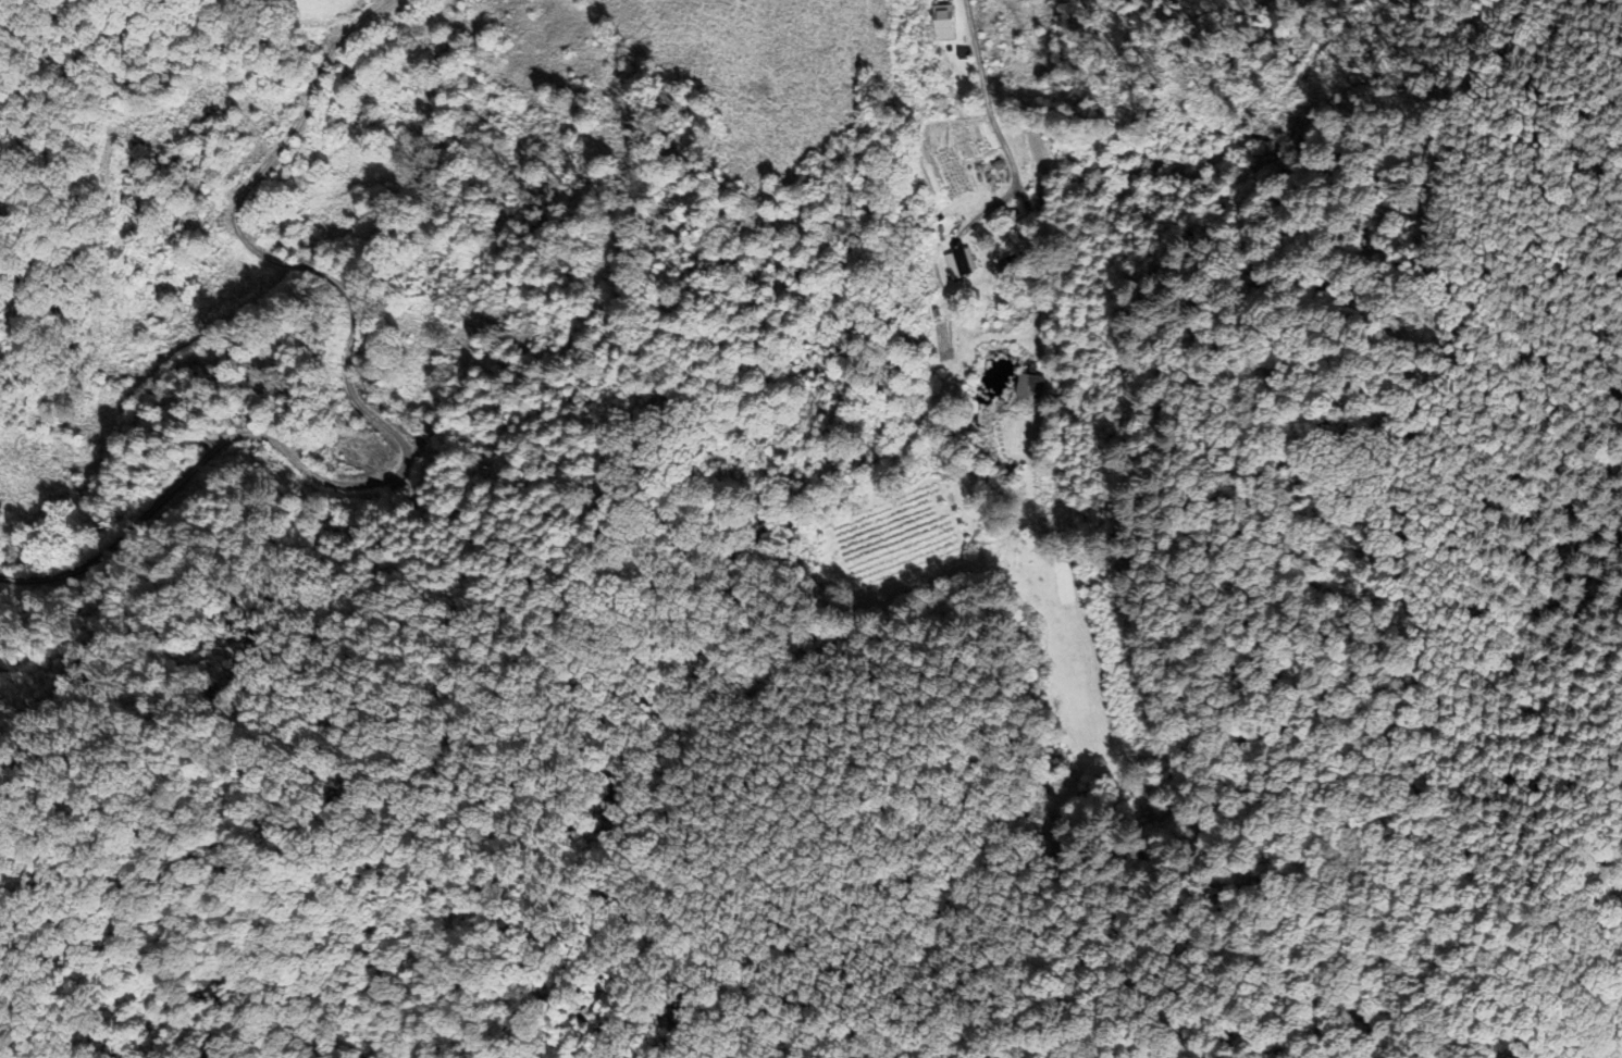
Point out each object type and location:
building: (946, 24)
building: (952, 263)
building: (1023, 386)

